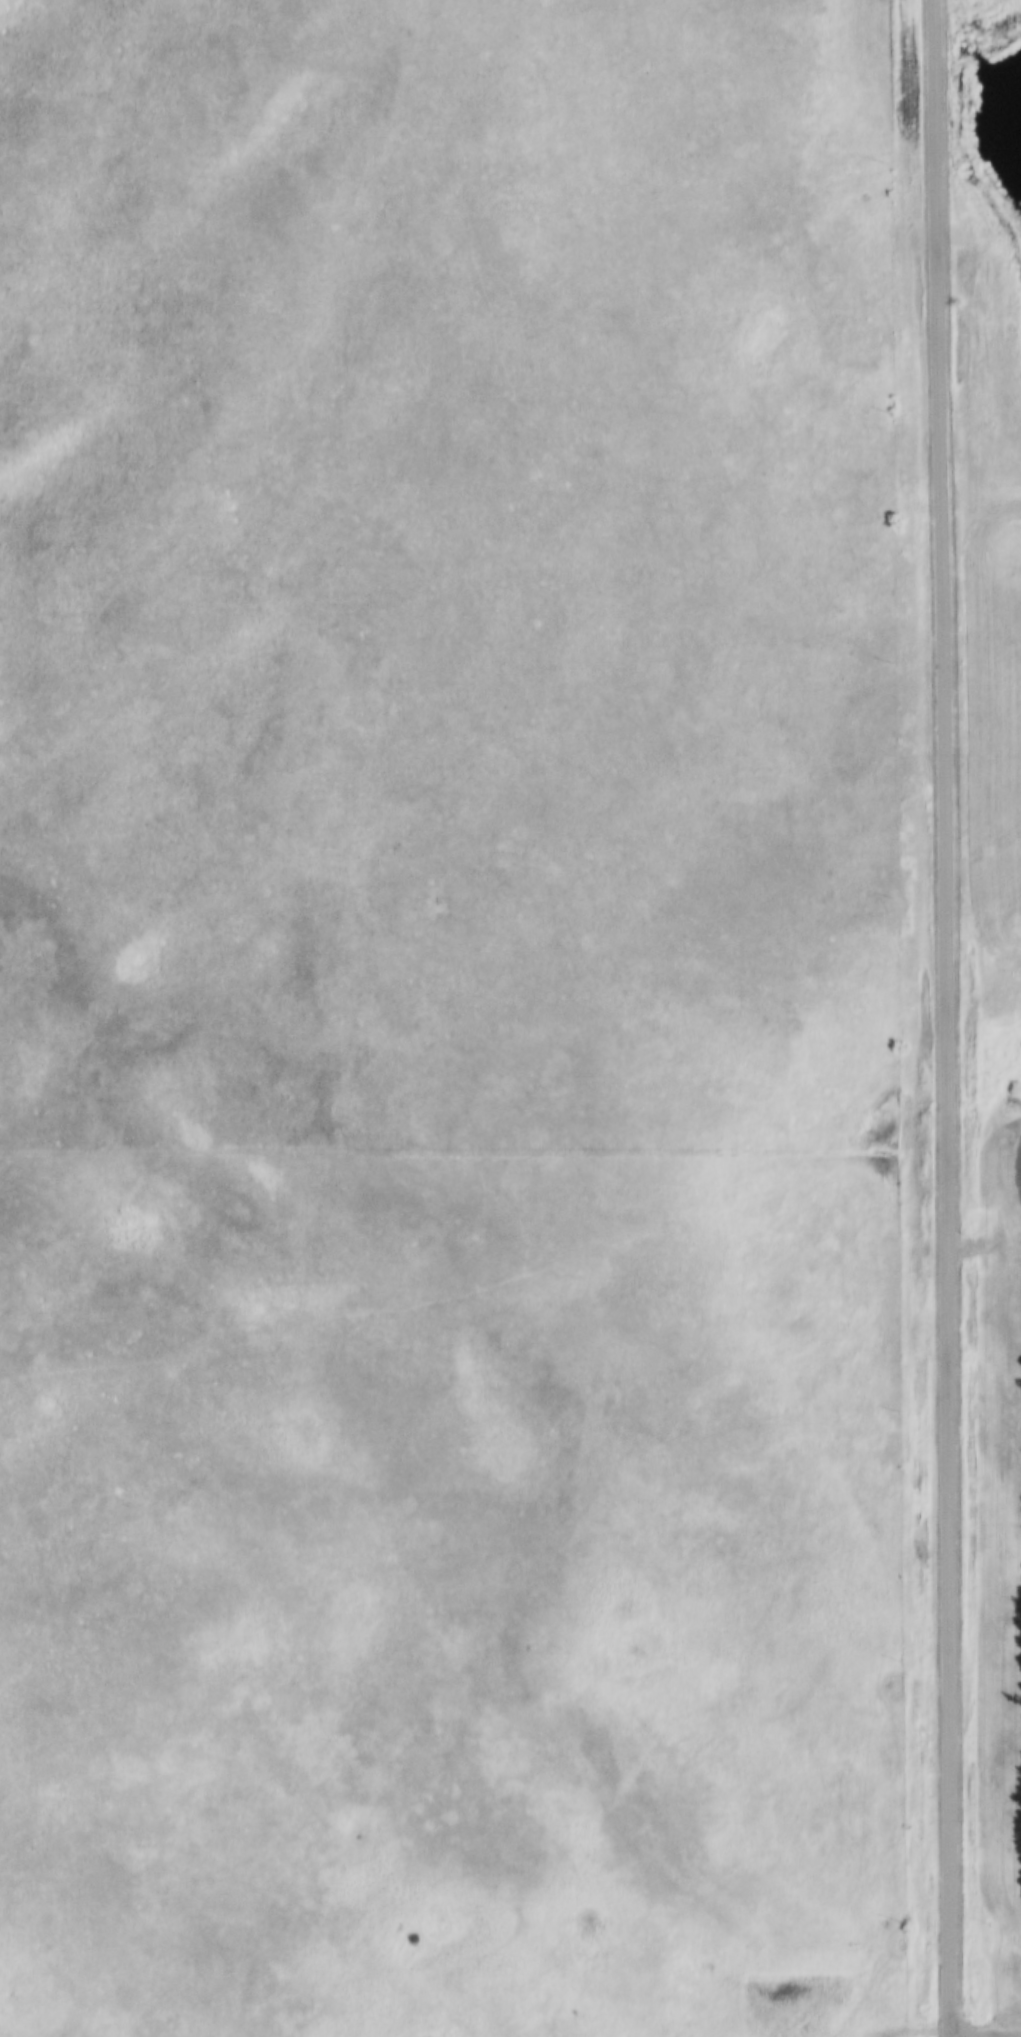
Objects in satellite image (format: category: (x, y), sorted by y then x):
road: (945, 1018)

